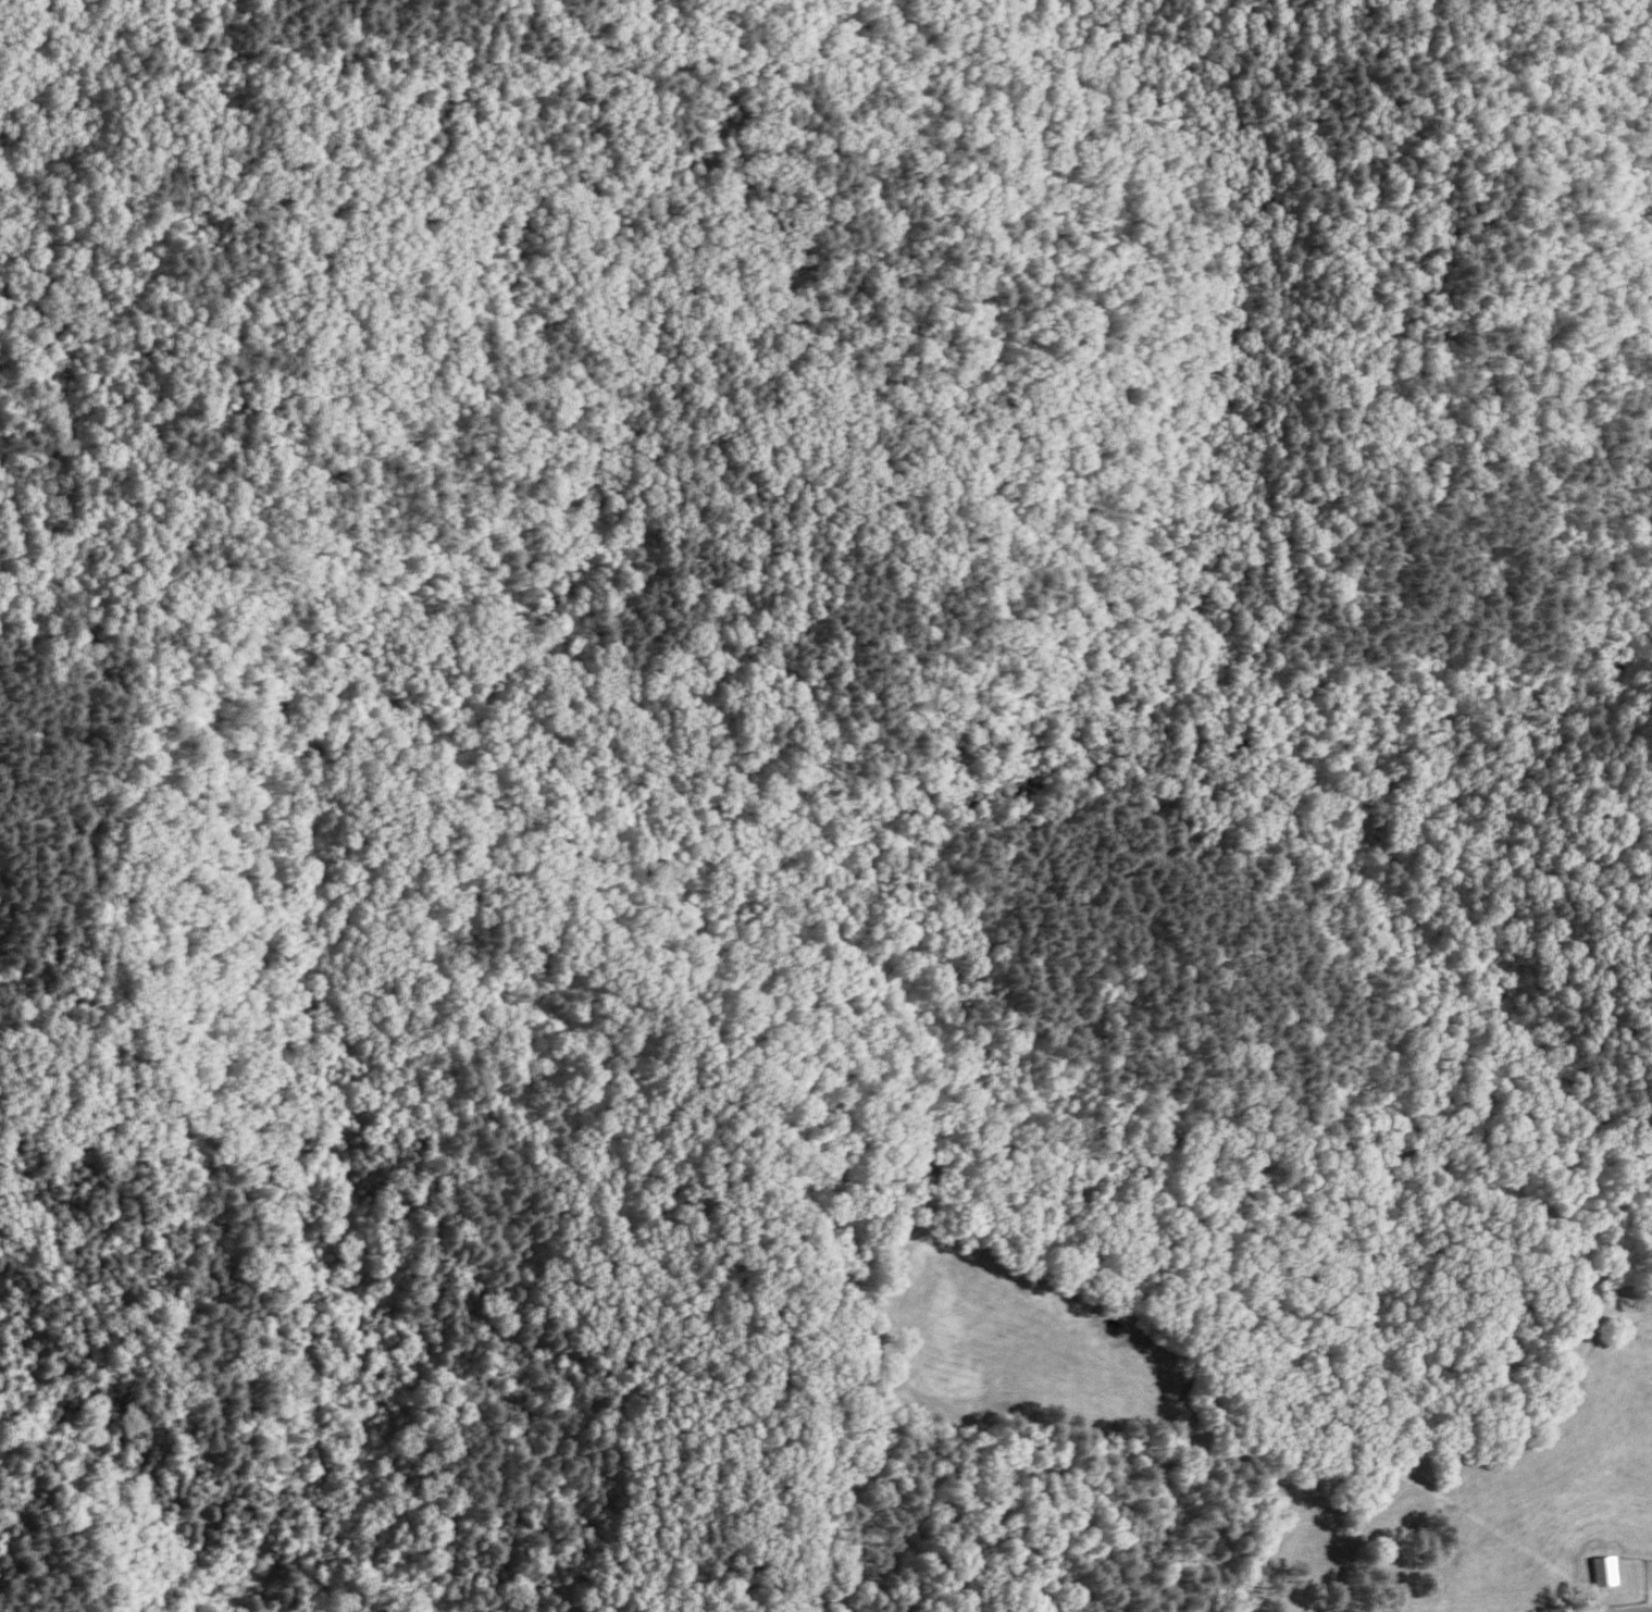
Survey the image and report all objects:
building: (1608, 1568)

